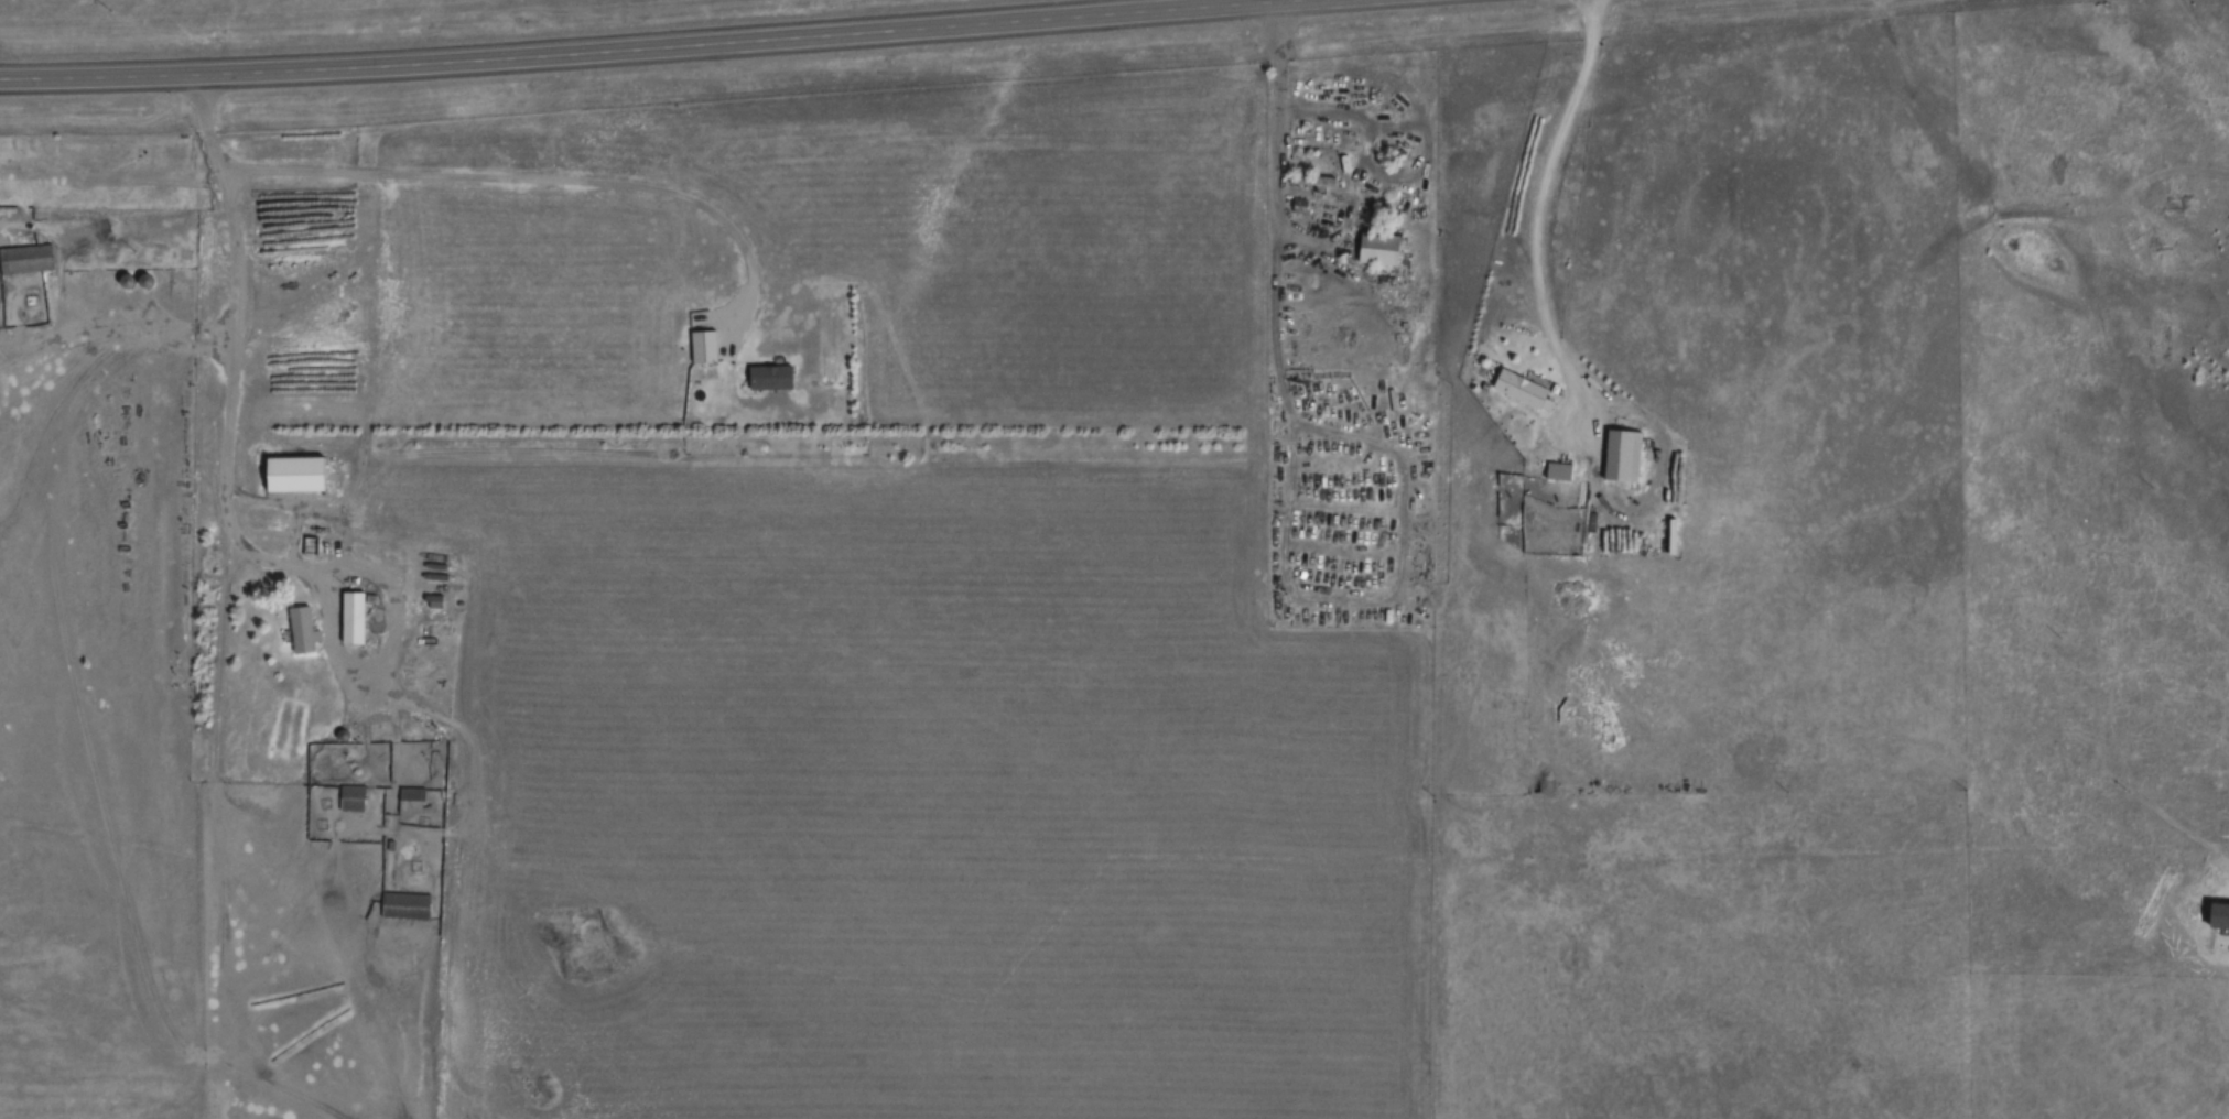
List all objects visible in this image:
road: (659, 47)
road: (531, 180)
building: (1310, 182)
road: (224, 199)
road: (1538, 206)
building: (1376, 249)
building: (24, 260)
building: (701, 347)
road: (102, 355)
building: (767, 379)
building: (1521, 391)
road: (1343, 433)
building: (1620, 456)
building: (309, 547)
building: (350, 619)
road: (323, 620)
building: (299, 630)
building: (350, 798)
building: (2221, 879)
road: (1421, 887)
building: (403, 906)

